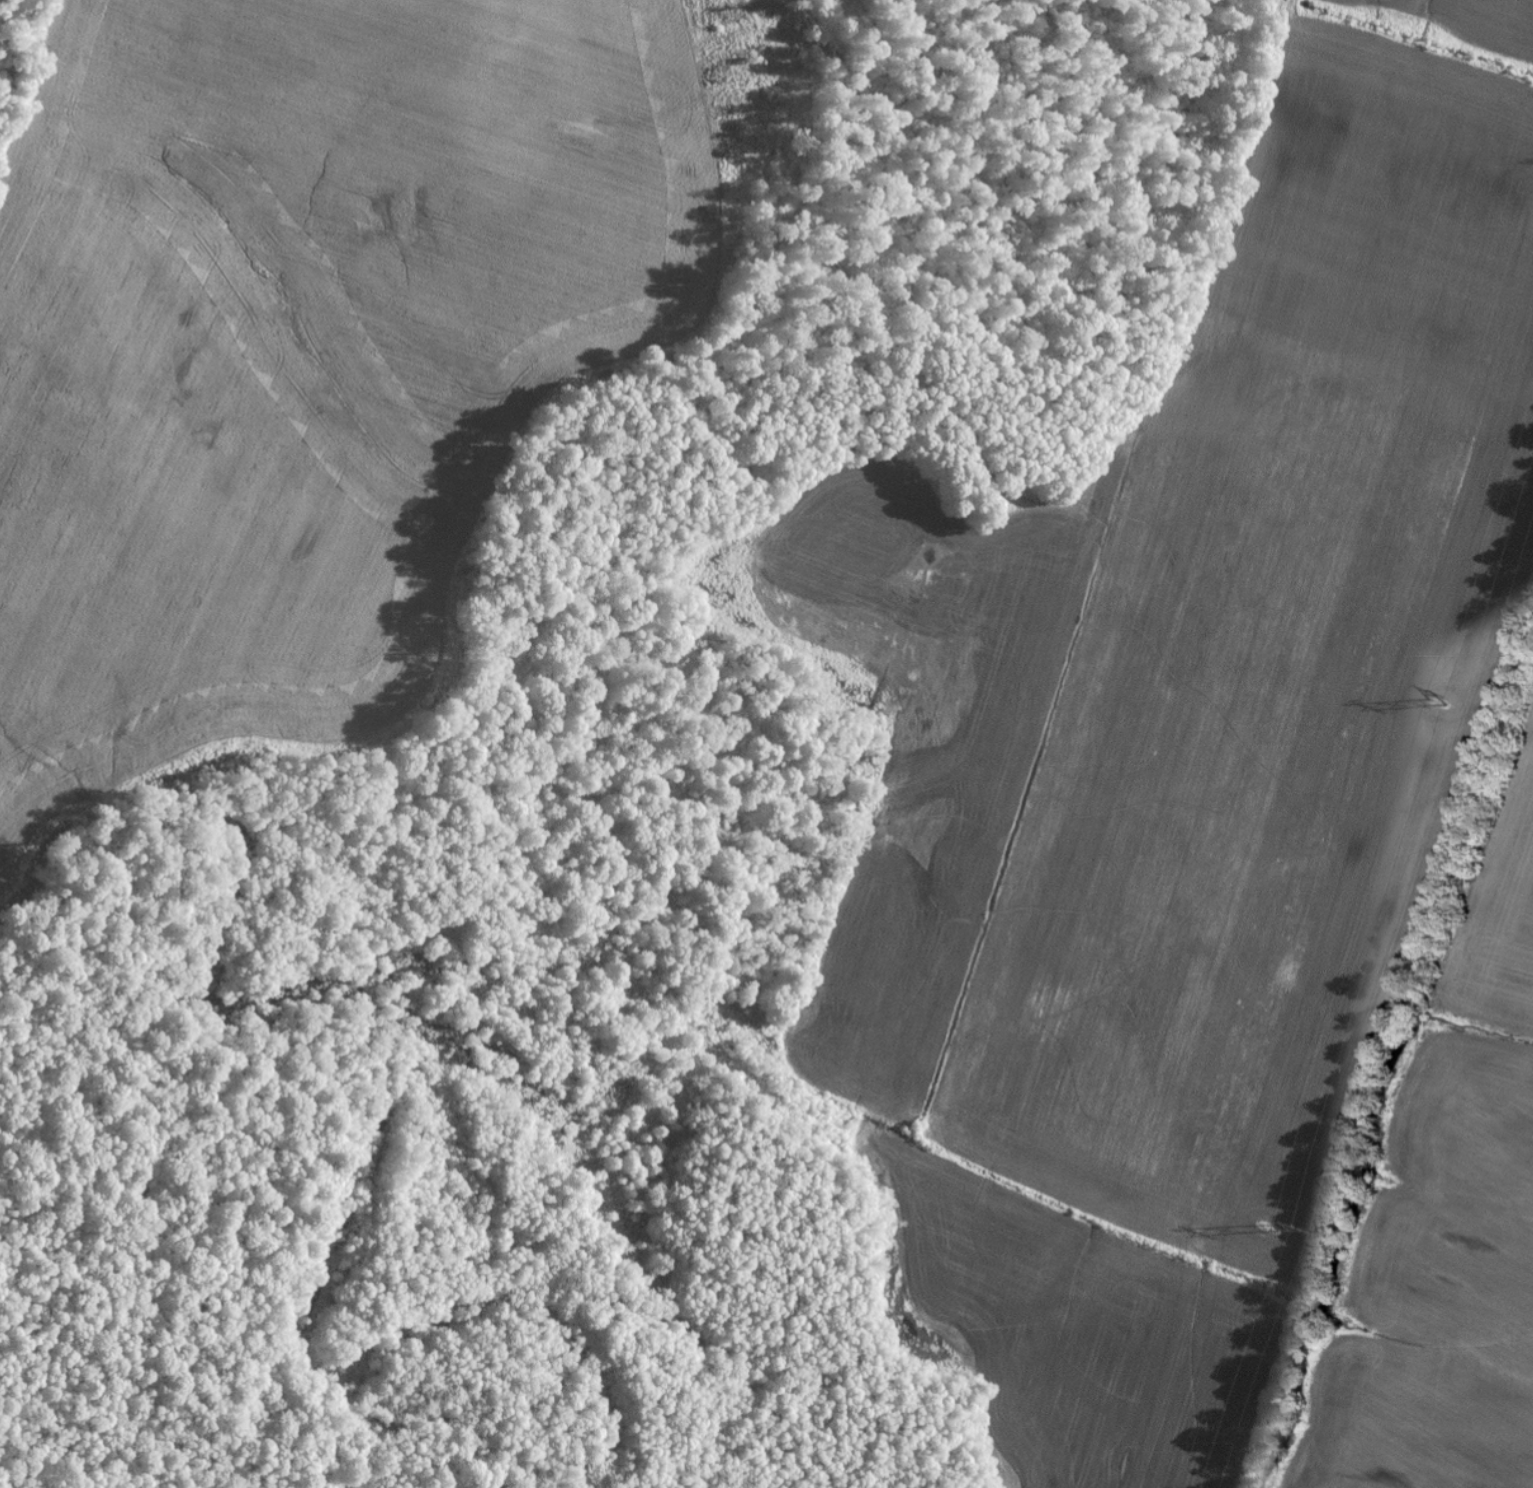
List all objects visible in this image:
power tower: (1443, 698)
power tower: (1271, 1223)

